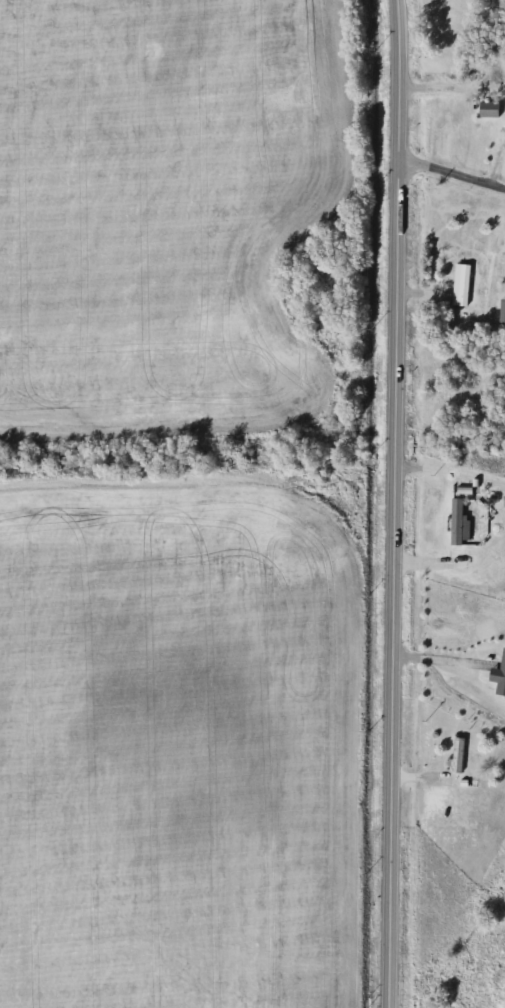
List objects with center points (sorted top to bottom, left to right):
road: (450, 173)
building: (461, 286)
road: (394, 504)
building: (459, 524)
road: (427, 563)
road: (440, 660)
building: (460, 755)

